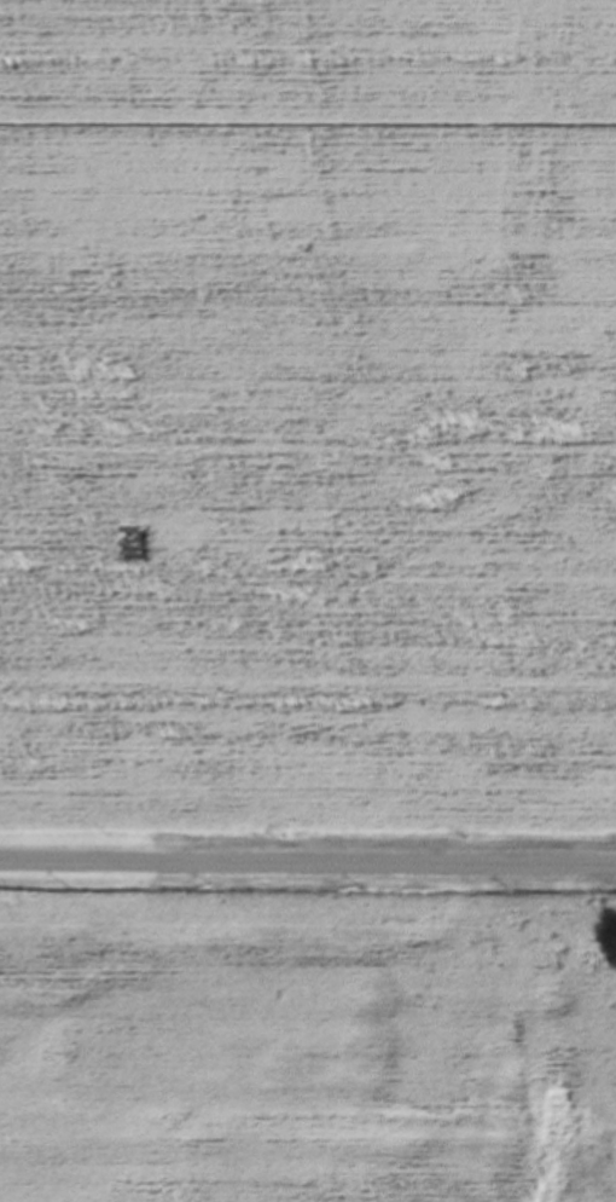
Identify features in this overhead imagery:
road: (308, 863)

